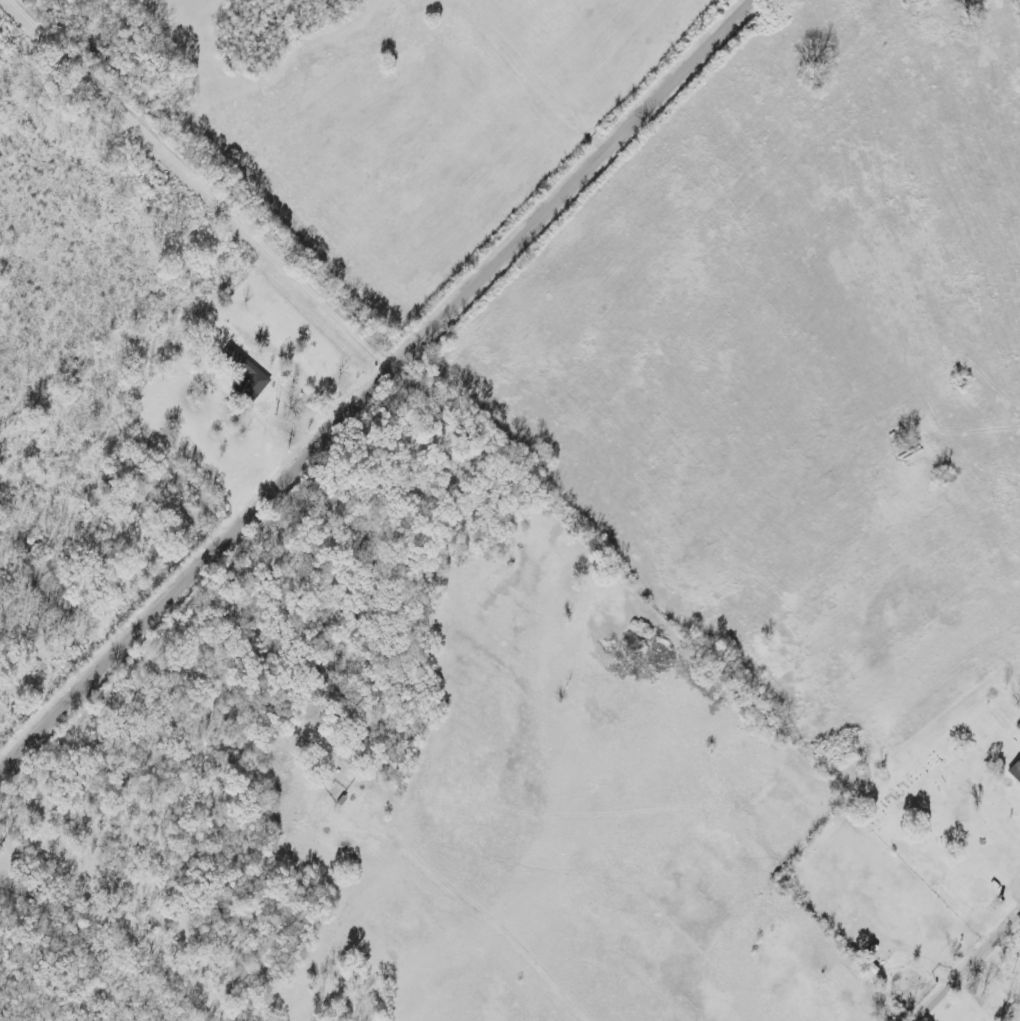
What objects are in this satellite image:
road: (207, 185)
building: (247, 371)
road: (380, 392)
building: (1012, 764)
park: (914, 810)
road: (968, 967)
building: (906, 983)

